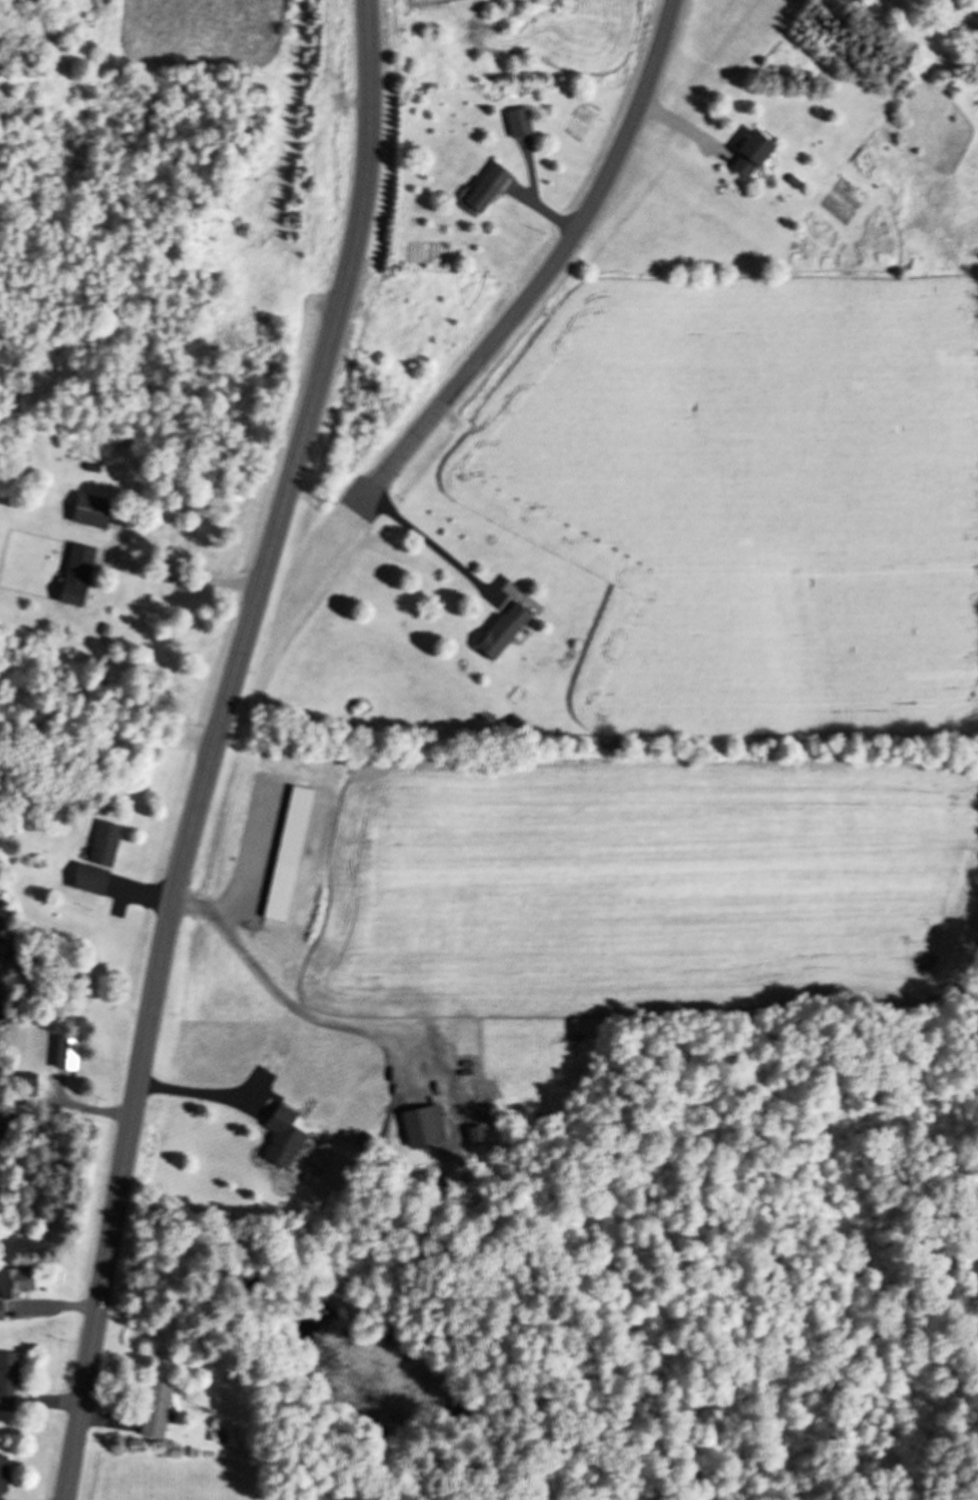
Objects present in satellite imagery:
building: (519, 121)
building: (751, 153)
building: (486, 186)
road: (549, 267)
building: (91, 510)
building: (76, 574)
building: (506, 624)
road: (211, 746)
building: (104, 843)
building: (89, 878)
building: (66, 1052)
building: (27, 1084)
building: (423, 1126)
building: (282, 1137)
building: (15, 1282)
building: (1, 1311)
building: (8, 1380)
building: (155, 1409)
building: (3, 1475)

